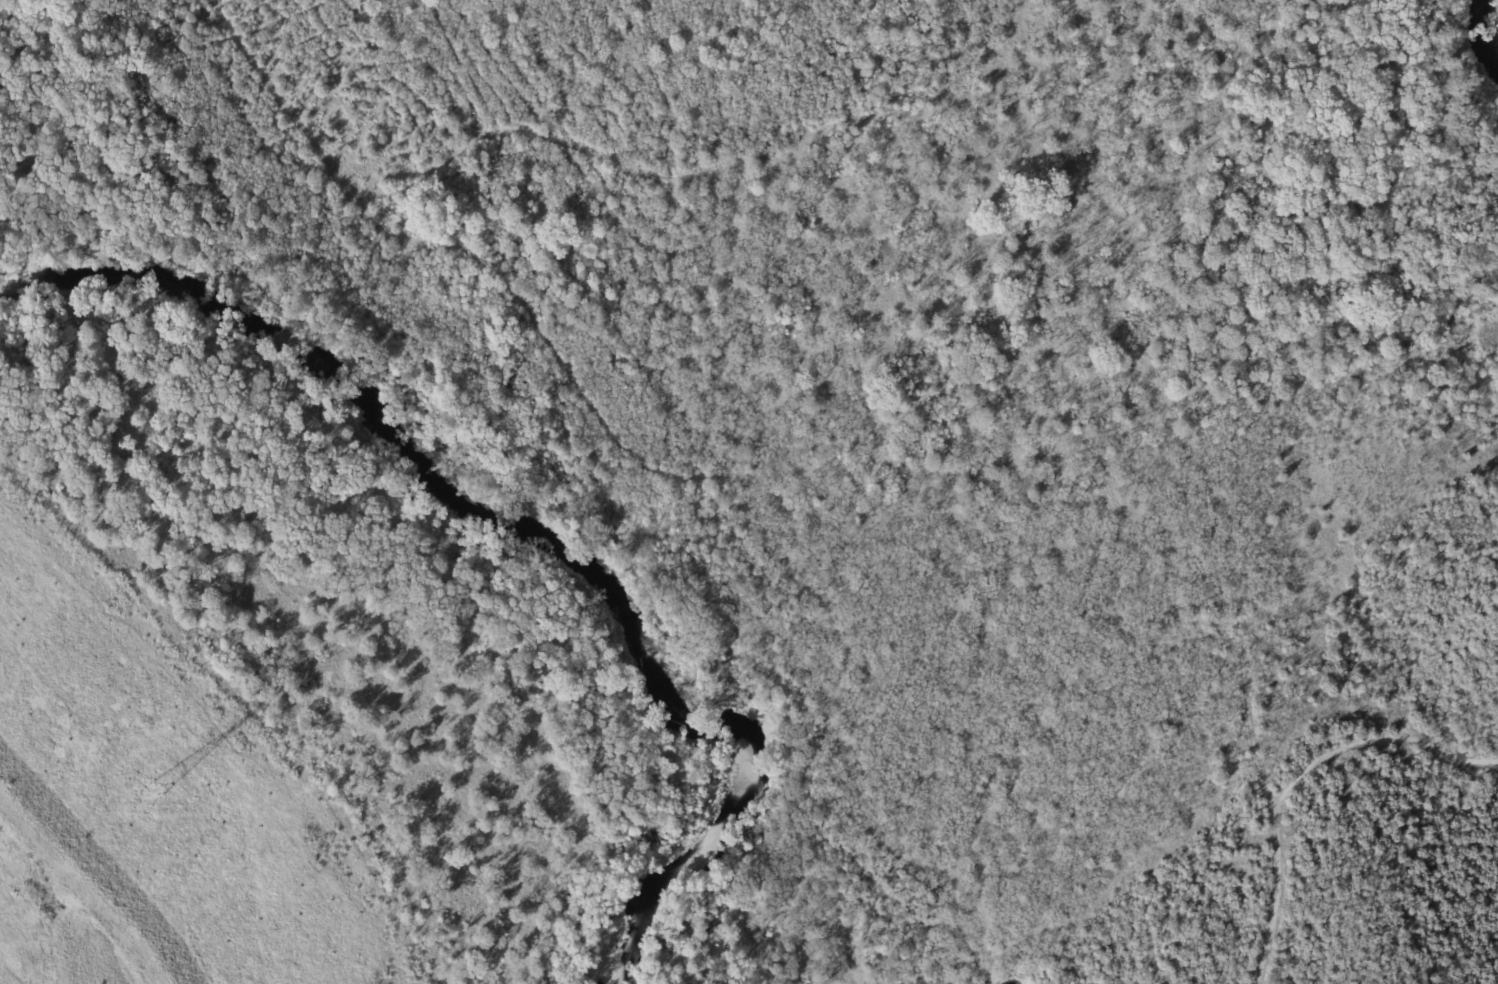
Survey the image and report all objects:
river: (1484, 52)
river: (523, 536)
road: (1298, 780)
power tower: (141, 817)
park: (1355, 851)

